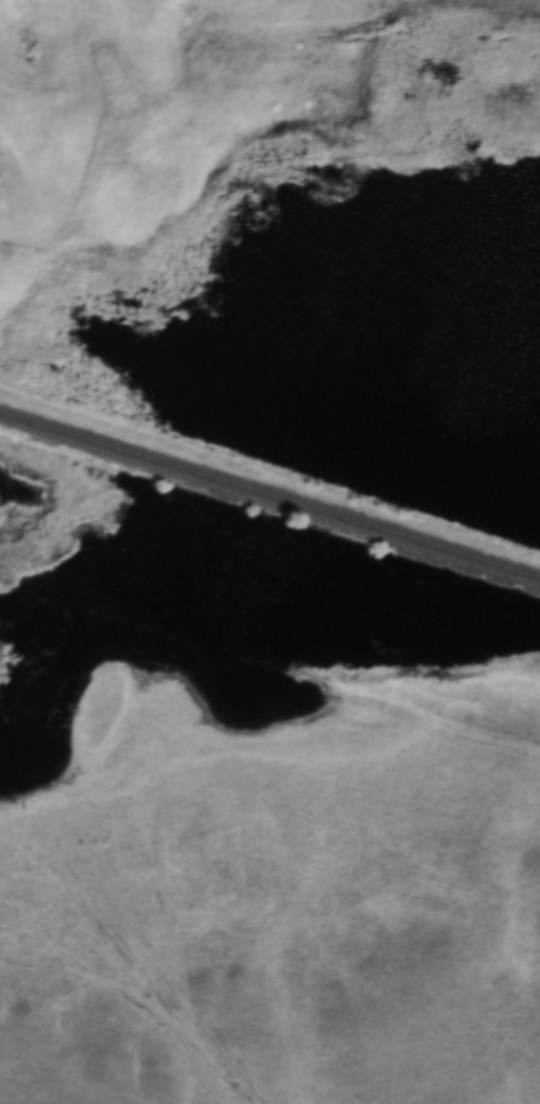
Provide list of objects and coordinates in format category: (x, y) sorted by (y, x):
railway: (270, 472)

